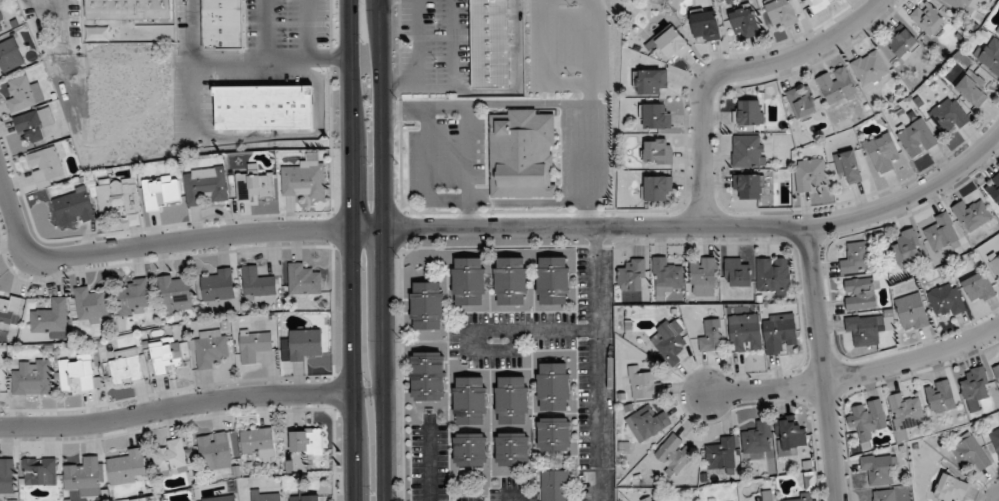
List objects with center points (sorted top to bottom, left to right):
building: (962, 3)
building: (819, 4)
building: (128, 10)
building: (780, 13)
building: (927, 18)
building: (744, 23)
building: (2, 24)
building: (223, 24)
building: (705, 26)
building: (997, 32)
building: (899, 41)
building: (489, 43)
building: (671, 44)
building: (10, 55)
building: (989, 55)
road: (277, 57)
building: (869, 70)
road: (731, 71)
building: (650, 81)
building: (835, 87)
building: (971, 89)
building: (21, 94)
building: (801, 103)
building: (263, 107)
building: (747, 112)
building: (949, 115)
building: (656, 116)
building: (35, 125)
building: (916, 138)
building: (657, 151)
building: (747, 151)
building: (881, 153)
building: (522, 154)
building: (45, 167)
building: (848, 167)
building: (809, 174)
building: (304, 178)
building: (206, 185)
building: (255, 186)
building: (747, 186)
building: (657, 188)
building: (993, 190)
building: (162, 192)
building: (119, 195)
building: (73, 208)
building: (970, 214)
road: (488, 228)
building: (941, 232)
building: (906, 248)
road: (351, 250)
road: (385, 250)
building: (855, 258)
building: (994, 265)
building: (736, 273)
building: (772, 274)
building: (631, 276)
building: (702, 277)
building: (666, 278)
building: (303, 279)
building: (552, 280)
building: (468, 281)
building: (510, 281)
building: (257, 283)
building: (216, 285)
building: (977, 288)
building: (862, 292)
building: (174, 294)
building: (134, 296)
building: (945, 301)
building: (89, 305)
building: (427, 306)
building: (9, 312)
building: (911, 312)
building: (51, 318)
building: (863, 329)
road: (495, 331)
building: (745, 332)
building: (778, 332)
building: (710, 336)
building: (668, 338)
building: (254, 346)
building: (302, 346)
building: (209, 349)
building: (166, 355)
road: (597, 364)
road: (822, 364)
building: (125, 366)
building: (995, 368)
building: (76, 372)
road: (856, 374)
building: (426, 376)
building: (32, 378)
building: (642, 383)
building: (975, 386)
building: (553, 387)
building: (940, 397)
building: (469, 400)
building: (511, 400)
road: (175, 406)
building: (904, 415)
building: (866, 418)
building: (647, 423)
building: (553, 435)
building: (788, 436)
building: (757, 438)
building: (995, 439)
building: (306, 441)
building: (258, 443)
building: (511, 449)
building: (470, 450)
building: (214, 451)
building: (972, 452)
building: (721, 454)
building: (170, 459)
road: (429, 459)
building: (126, 467)
building: (879, 470)
building: (39, 471)
building: (7, 476)
building: (86, 477)
building: (554, 485)
building: (950, 488)
building: (265, 495)
building: (885, 495)
building: (304, 496)
road: (514, 496)
building: (768, 496)
building: (802, 497)
building: (220, 498)
building: (656, 499)

